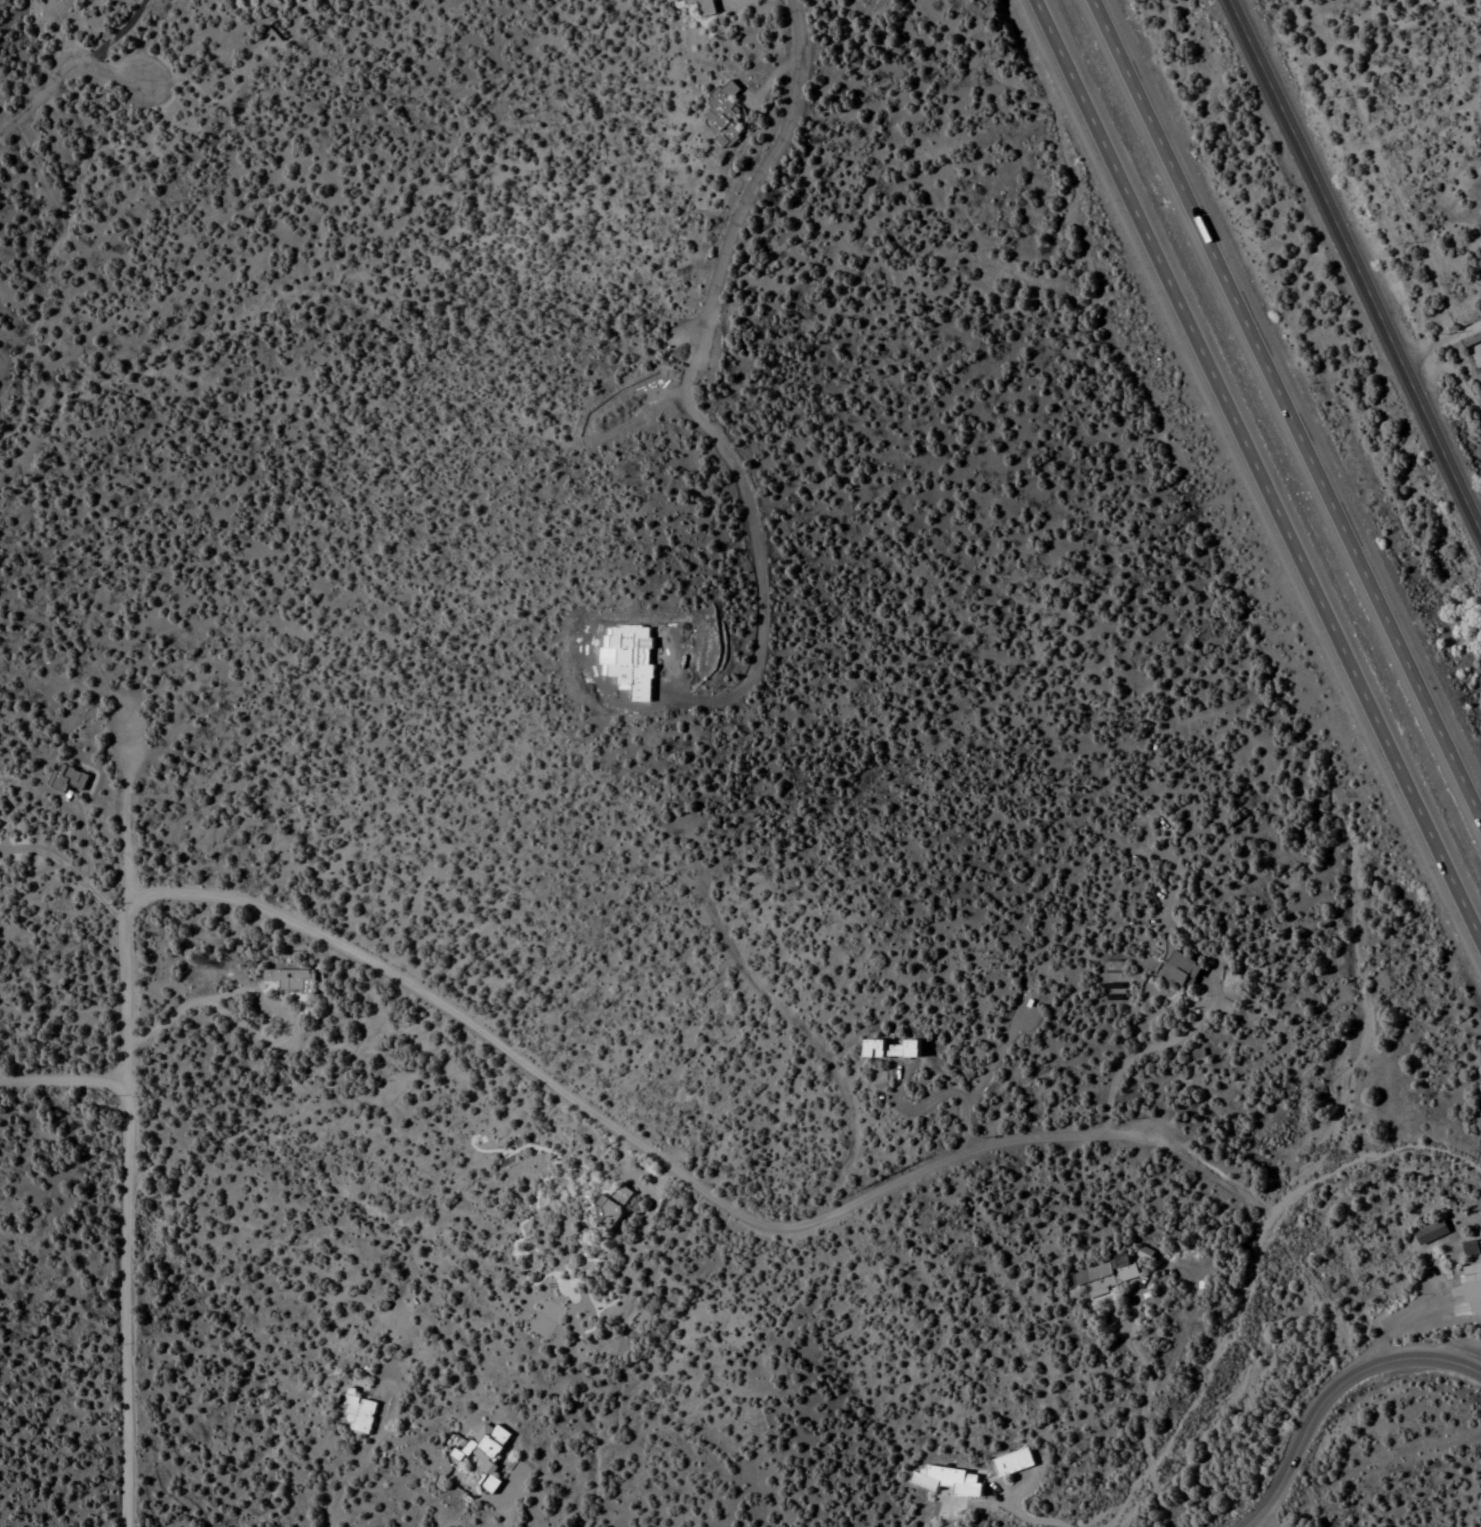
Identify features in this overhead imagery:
building: (705, 11)
road: (116, 33)
road: (61, 67)
road: (772, 78)
building: (730, 109)
road: (761, 171)
road: (1353, 268)
building: (1472, 340)
road: (1440, 341)
road: (1289, 411)
road: (1257, 465)
building: (68, 780)
building: (1179, 972)
building: (289, 980)
building: (890, 1050)
building: (1196, 1055)
road: (66, 1076)
road: (131, 1133)
road: (684, 1170)
building: (614, 1203)
flagpole: (1455, 1257)
building: (1105, 1276)
building: (1426, 1279)
road: (1462, 1315)
road: (1400, 1322)
road: (1334, 1394)
road: (1149, 1395)
building: (358, 1415)
building: (485, 1453)
building: (1011, 1463)
building: (948, 1484)

